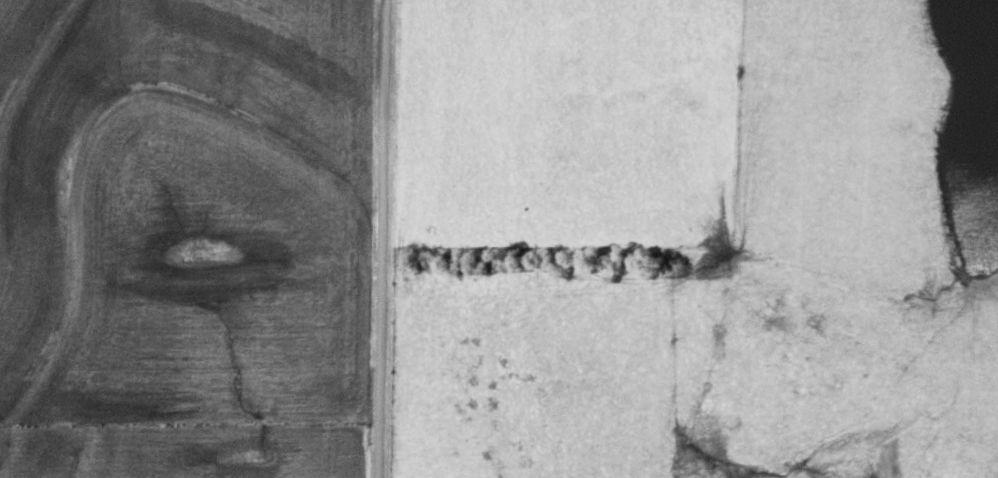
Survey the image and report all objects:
road: (392, 239)

